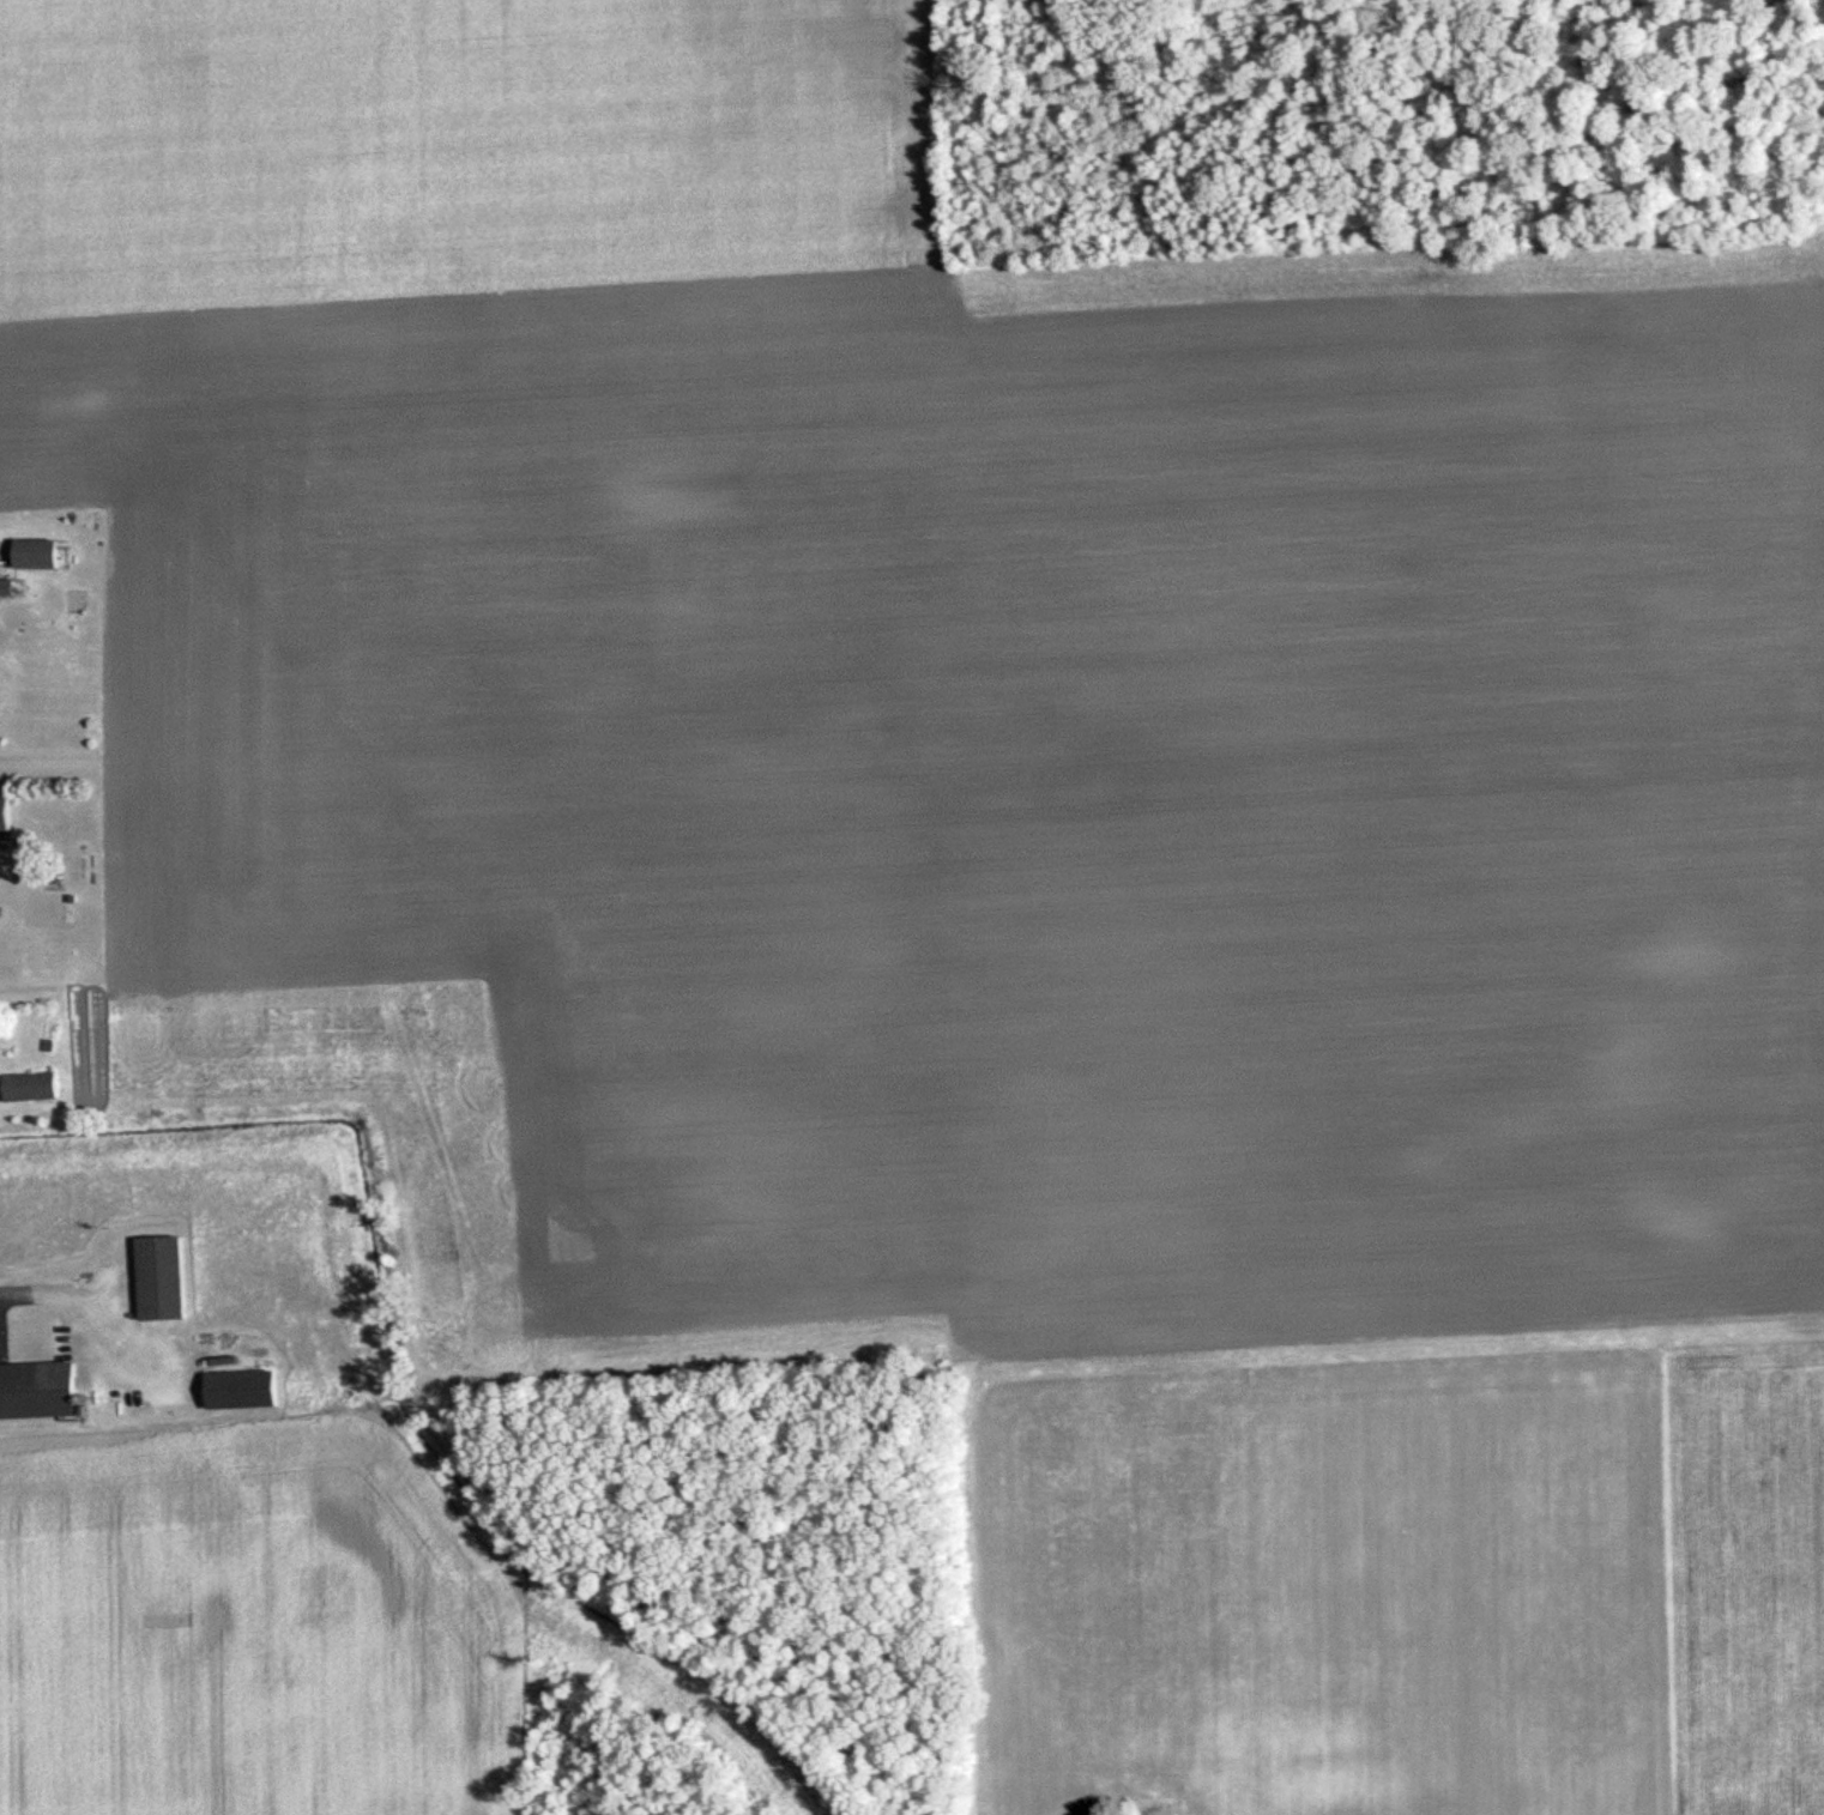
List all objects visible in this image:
building: (38, 553)
building: (6, 810)
building: (34, 1085)
road: (83, 1270)
building: (165, 1277)
building: (246, 1389)
building: (41, 1390)

